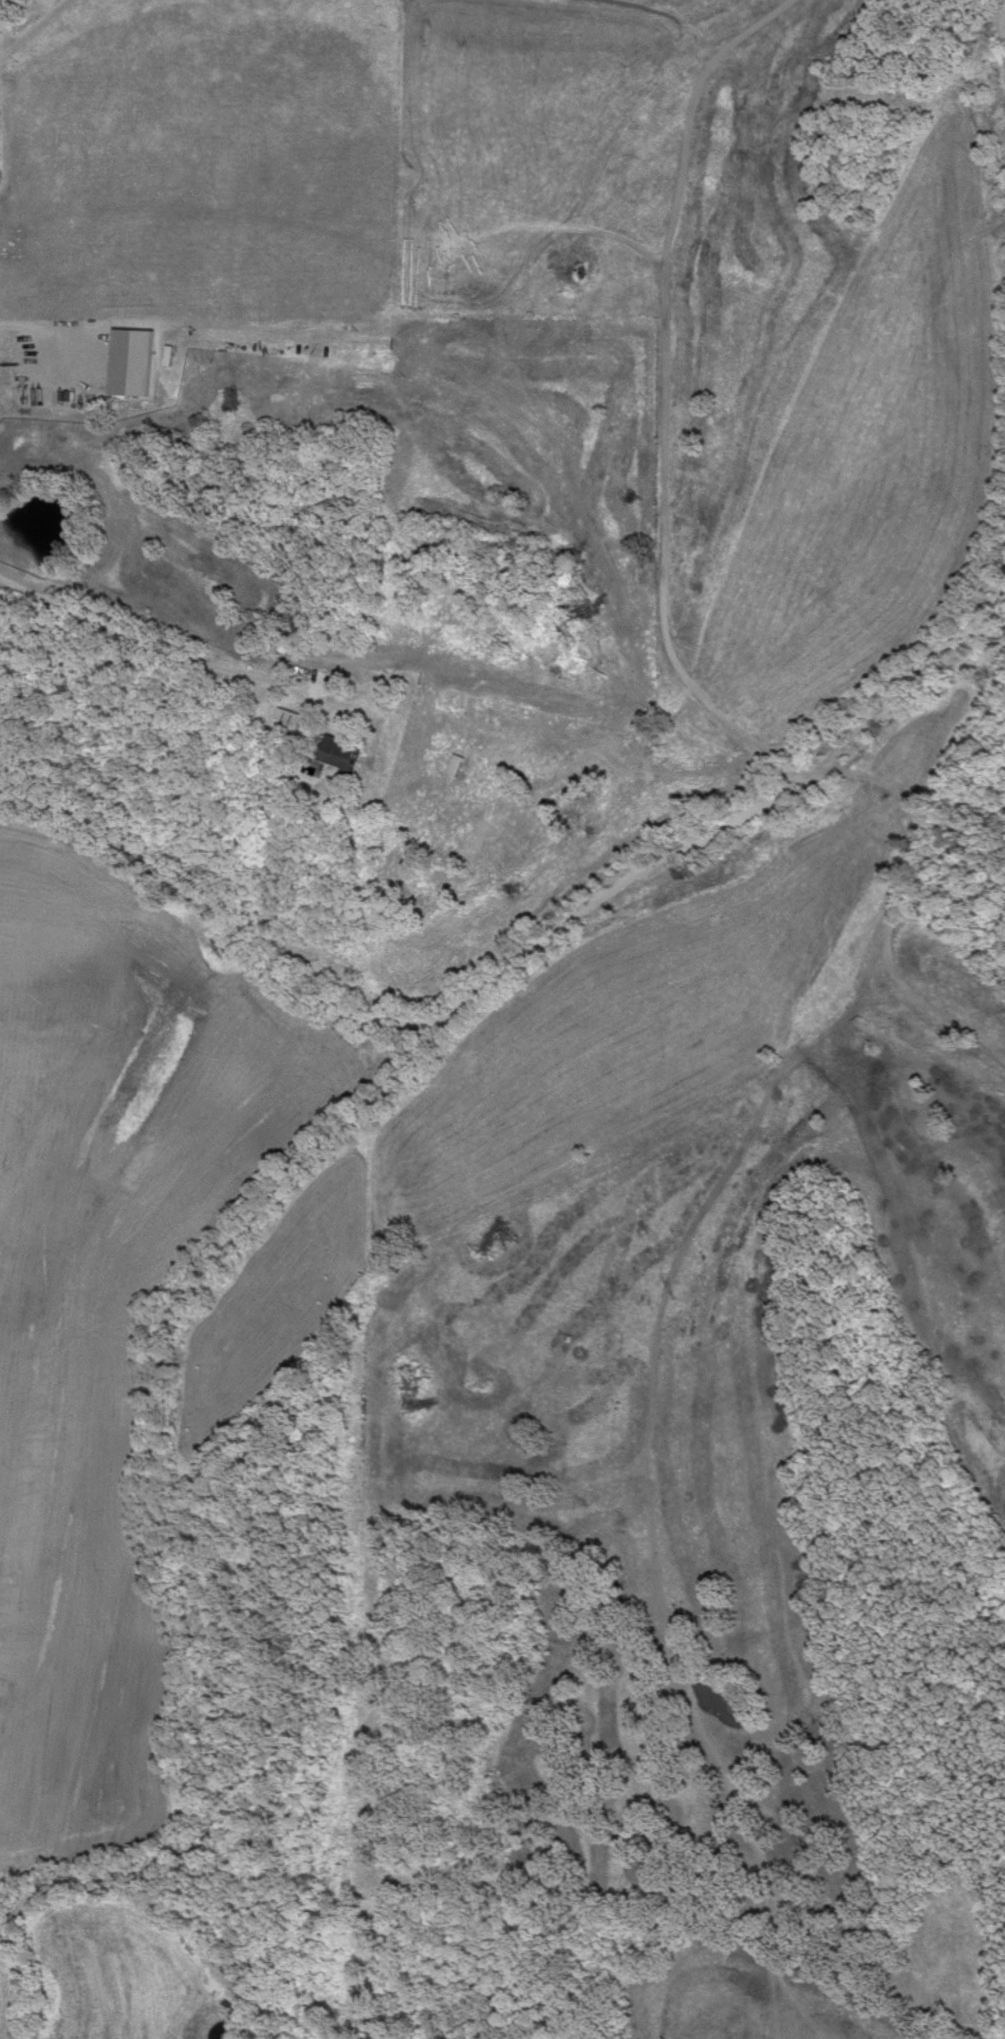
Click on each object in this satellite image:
building: (167, 357)
building: (129, 364)
road: (155, 644)
building: (287, 723)
building: (336, 755)

